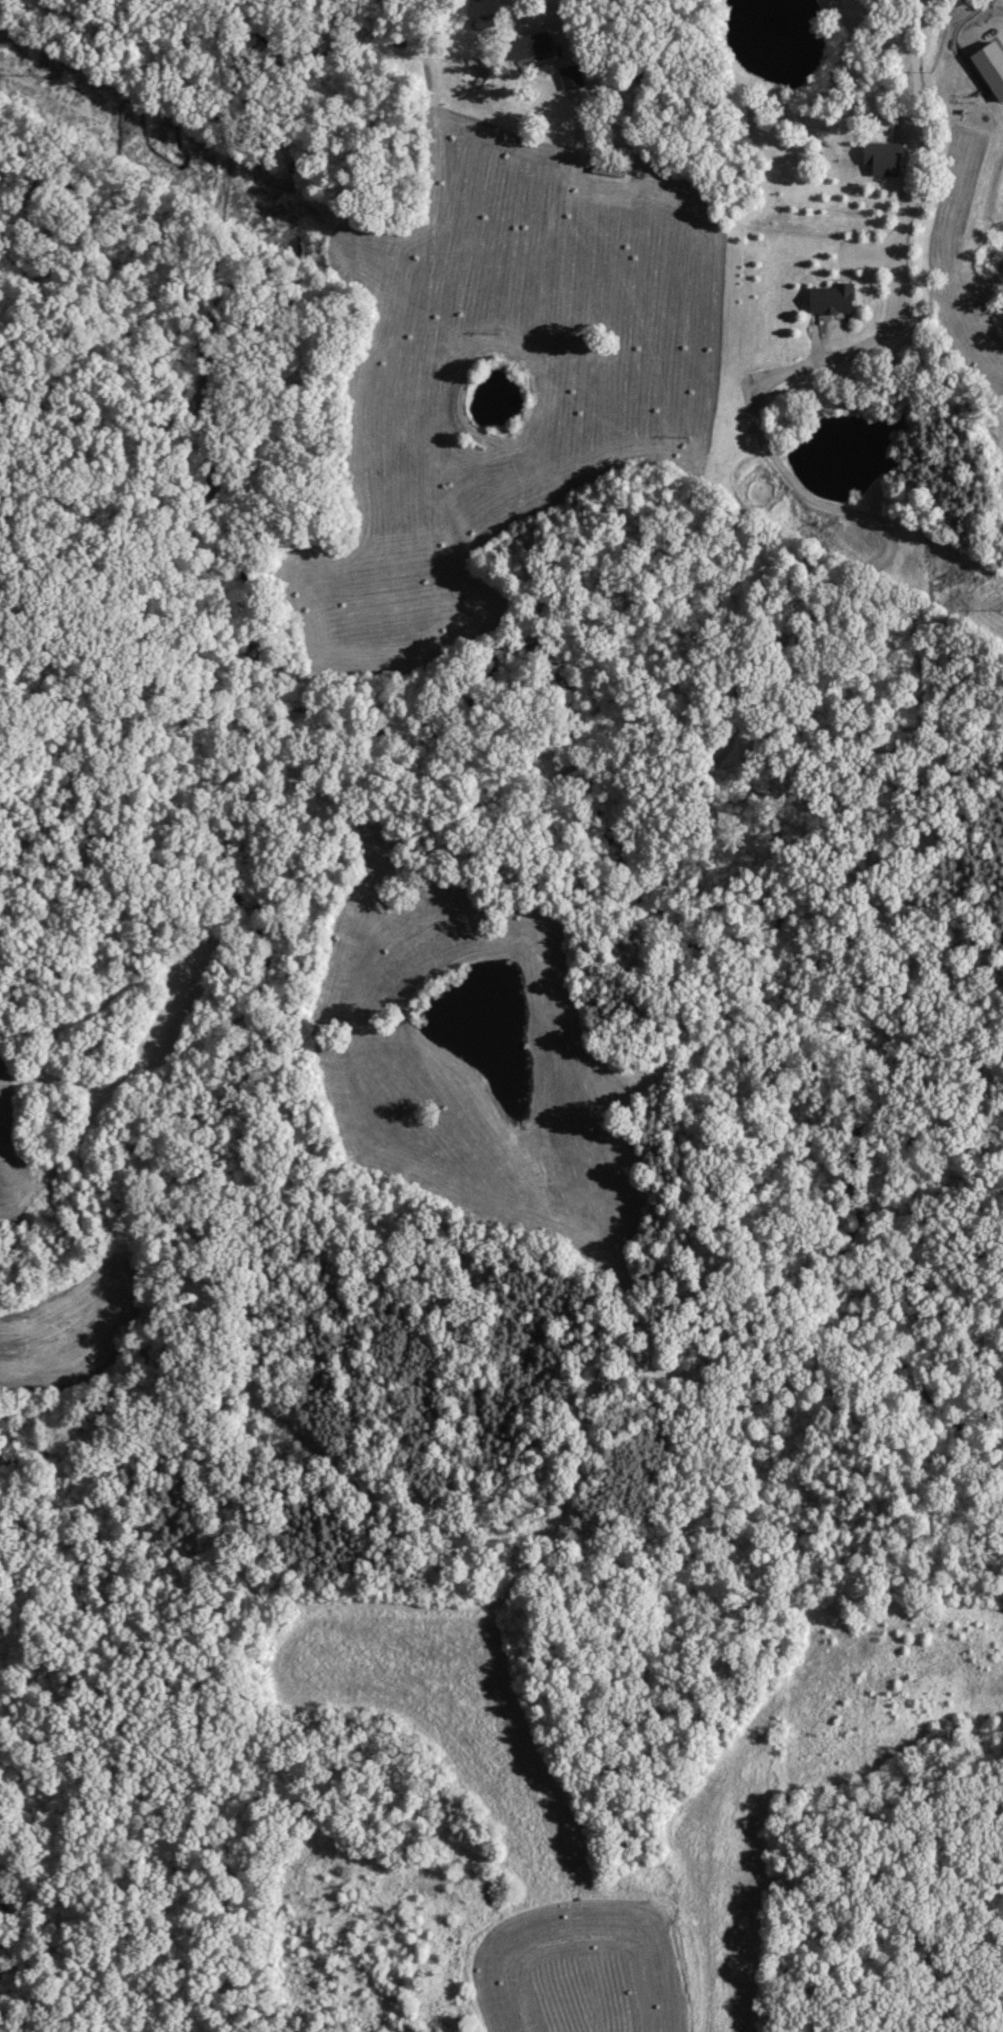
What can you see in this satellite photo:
building: (533, 45)
building: (993, 65)
building: (572, 77)
building: (885, 157)
building: (834, 298)

